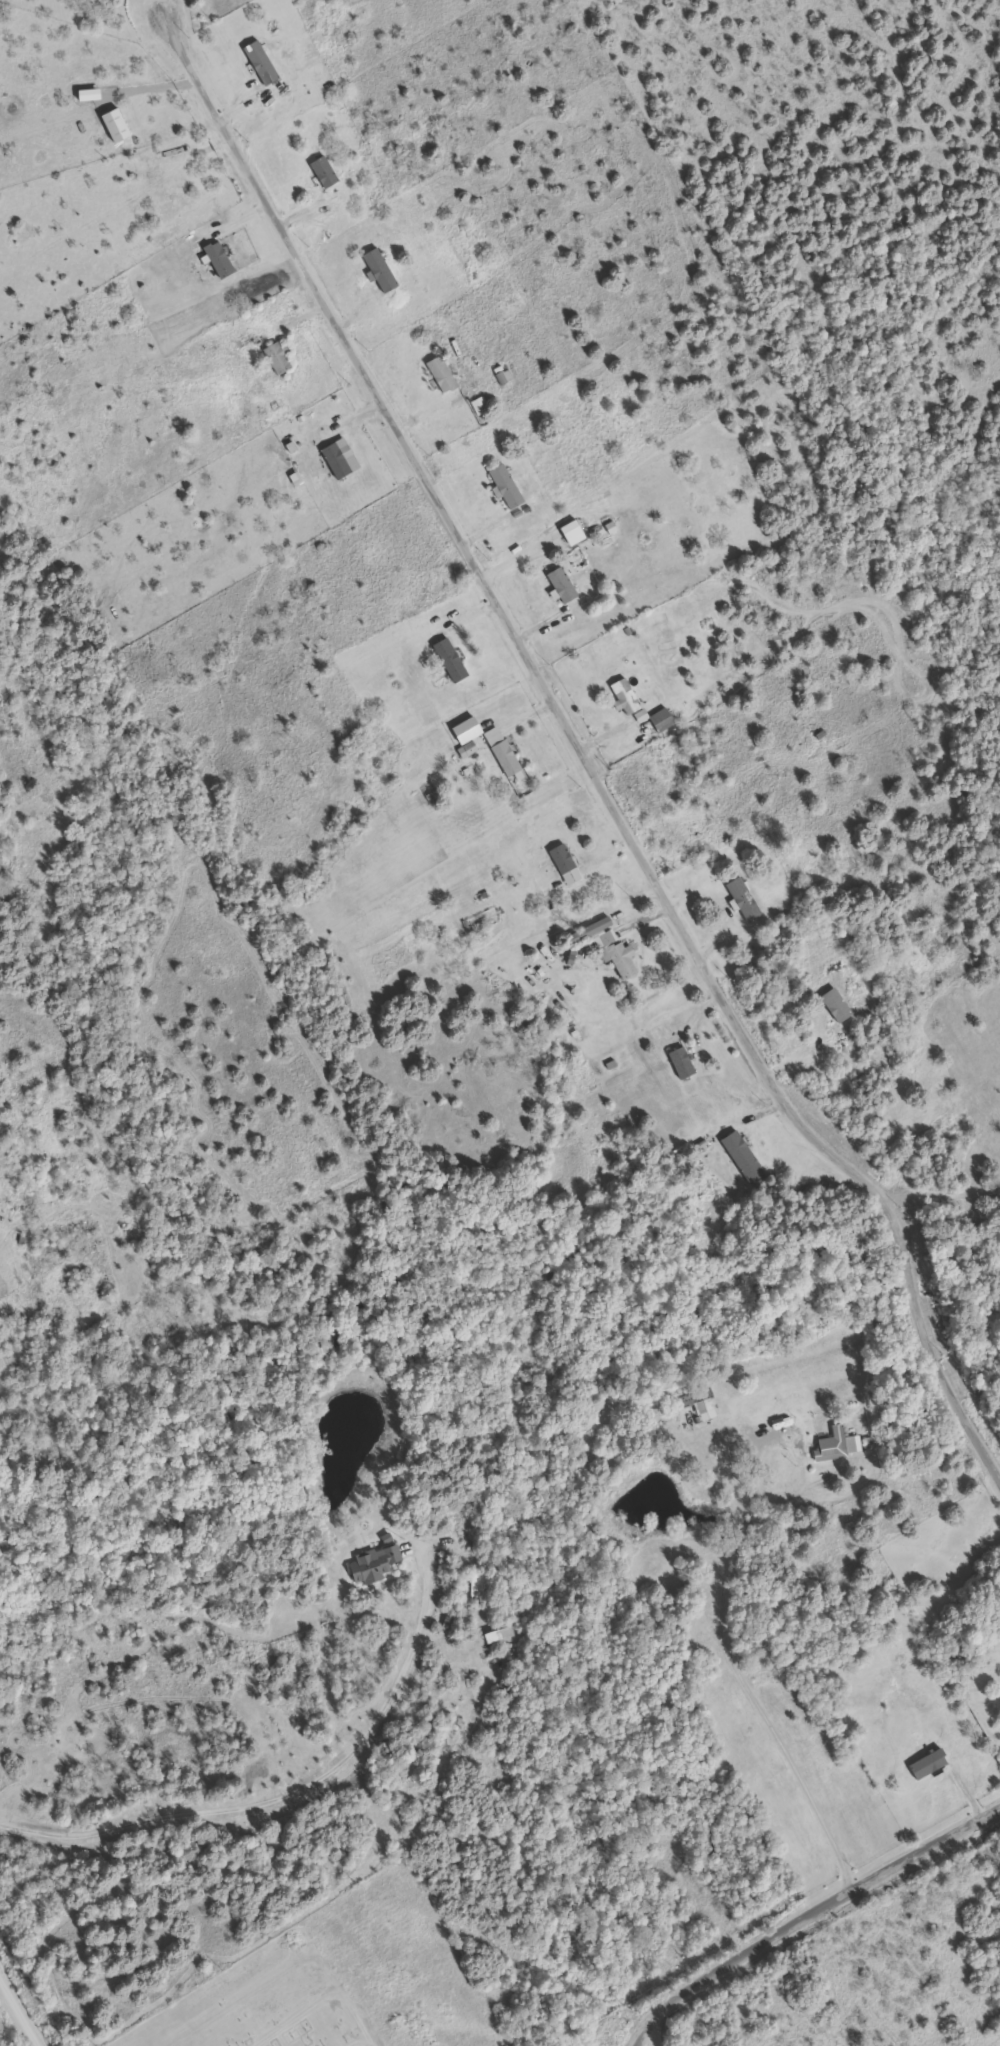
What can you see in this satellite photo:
building: (260, 62)
building: (116, 125)
building: (325, 172)
building: (219, 260)
building: (382, 271)
building: (279, 358)
building: (442, 375)
building: (480, 405)
building: (337, 460)
building: (506, 487)
building: (573, 533)
building: (563, 585)
building: (452, 660)
building: (626, 696)
building: (642, 716)
building: (663, 720)
building: (467, 731)
building: (468, 750)
building: (503, 752)
building: (566, 865)
building: (743, 899)
building: (609, 945)
building: (837, 1005)
building: (682, 1062)
building: (995, 1140)
building: (745, 1157)
building: (695, 1397)
building: (708, 1410)
building: (837, 1445)
building: (376, 1562)
building: (480, 1586)
road: (733, 1657)
building: (929, 1764)
road: (807, 1914)
park: (339, 1980)
road: (18, 2013)
road: (655, 2035)
road: (362, 2037)

